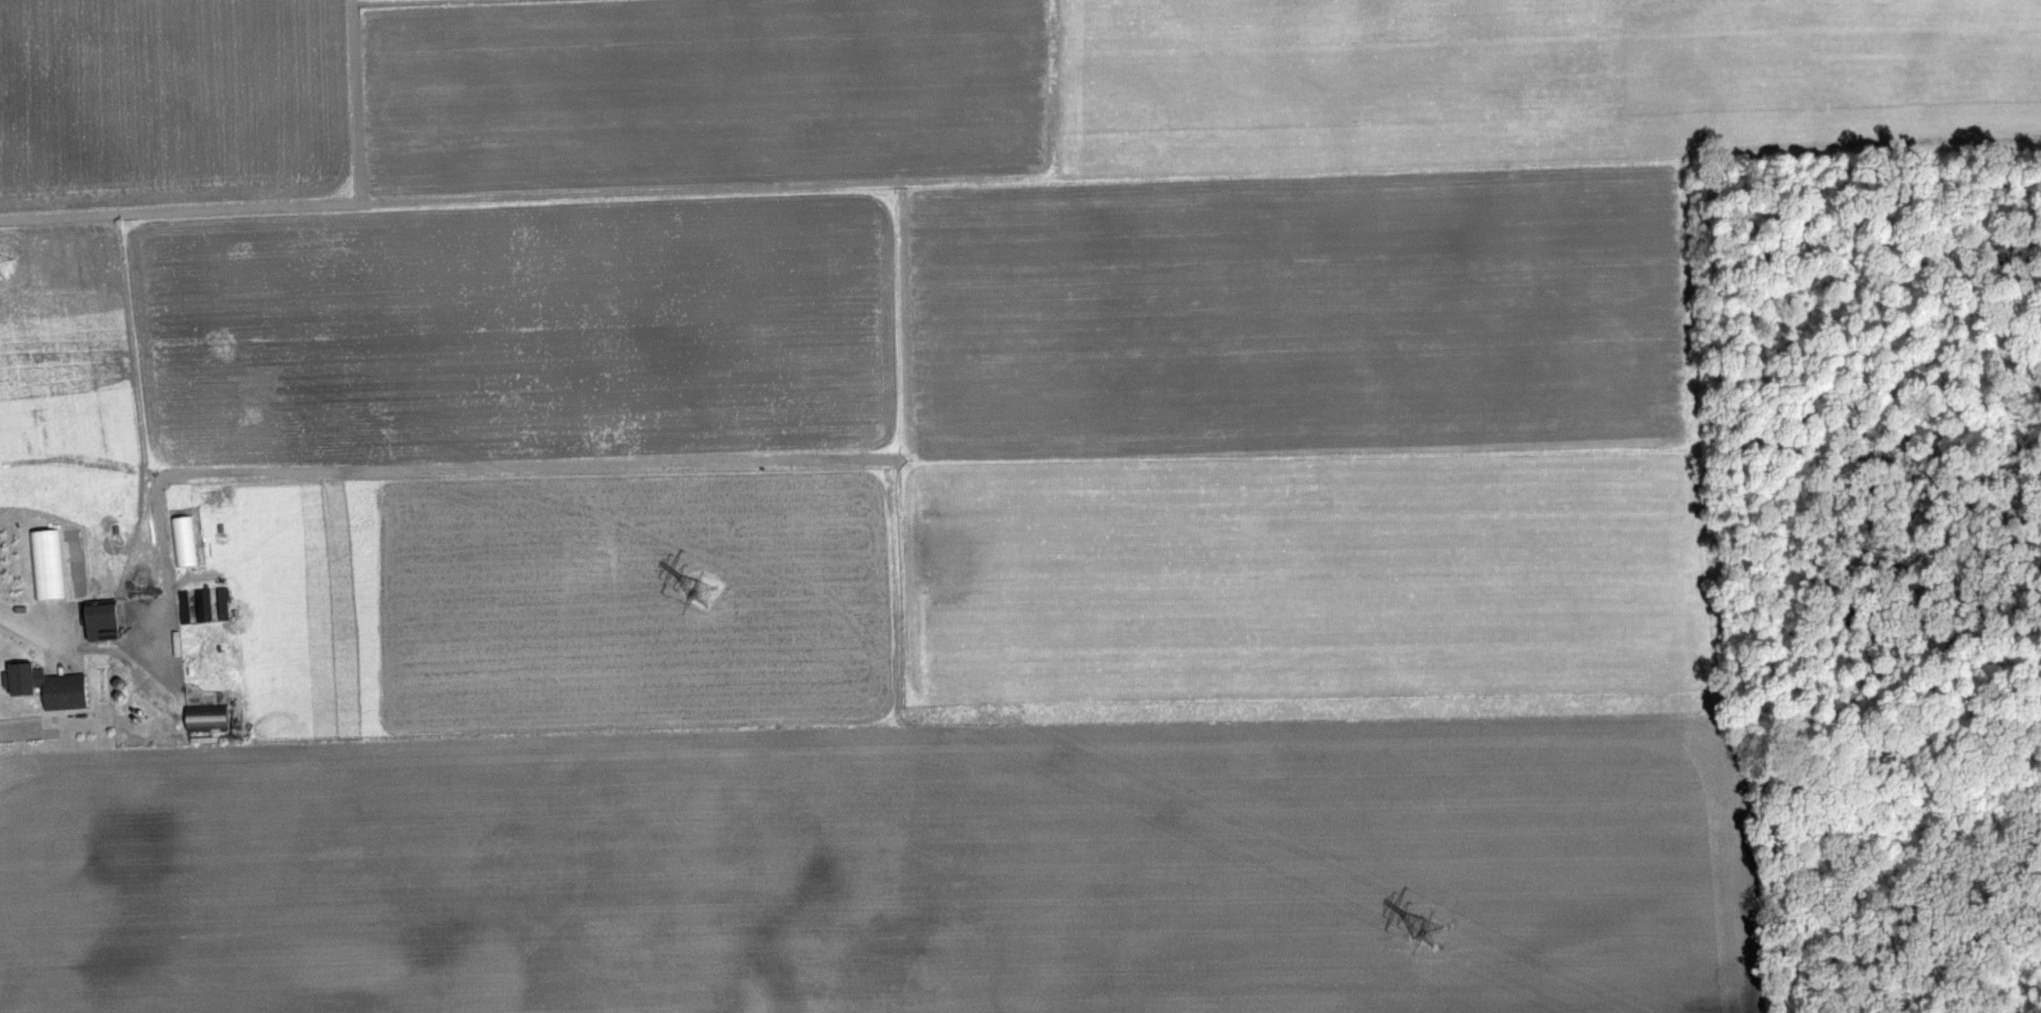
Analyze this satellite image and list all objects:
power tower: (700, 592)
road: (26, 619)
building: (101, 620)
building: (64, 692)
building: (206, 718)
power tower: (1428, 933)

